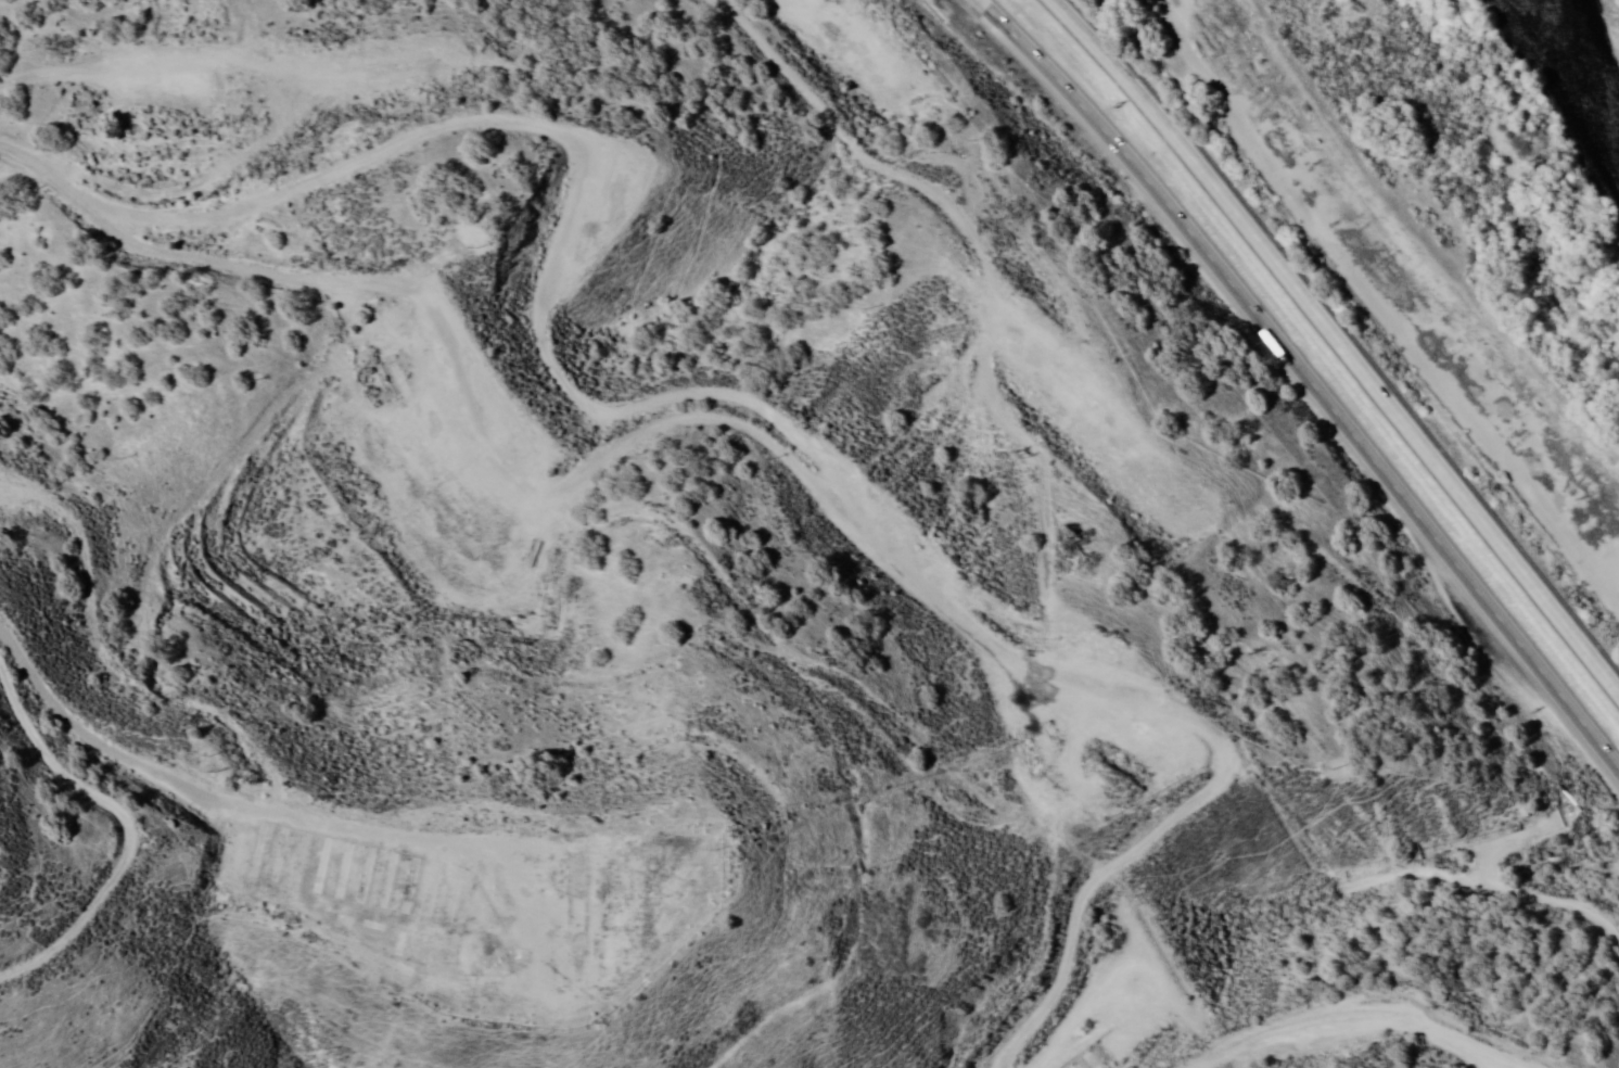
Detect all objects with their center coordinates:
building: (1231, 60)
river: (1580, 61)
road: (16, 139)
road: (883, 160)
road: (87, 220)
road: (1406, 278)
road: (1339, 343)
road: (1305, 380)
road: (579, 473)
road: (41, 665)
road: (699, 722)
road: (1356, 907)
road: (1033, 913)
road: (44, 914)
road: (1510, 967)
road: (509, 1041)

